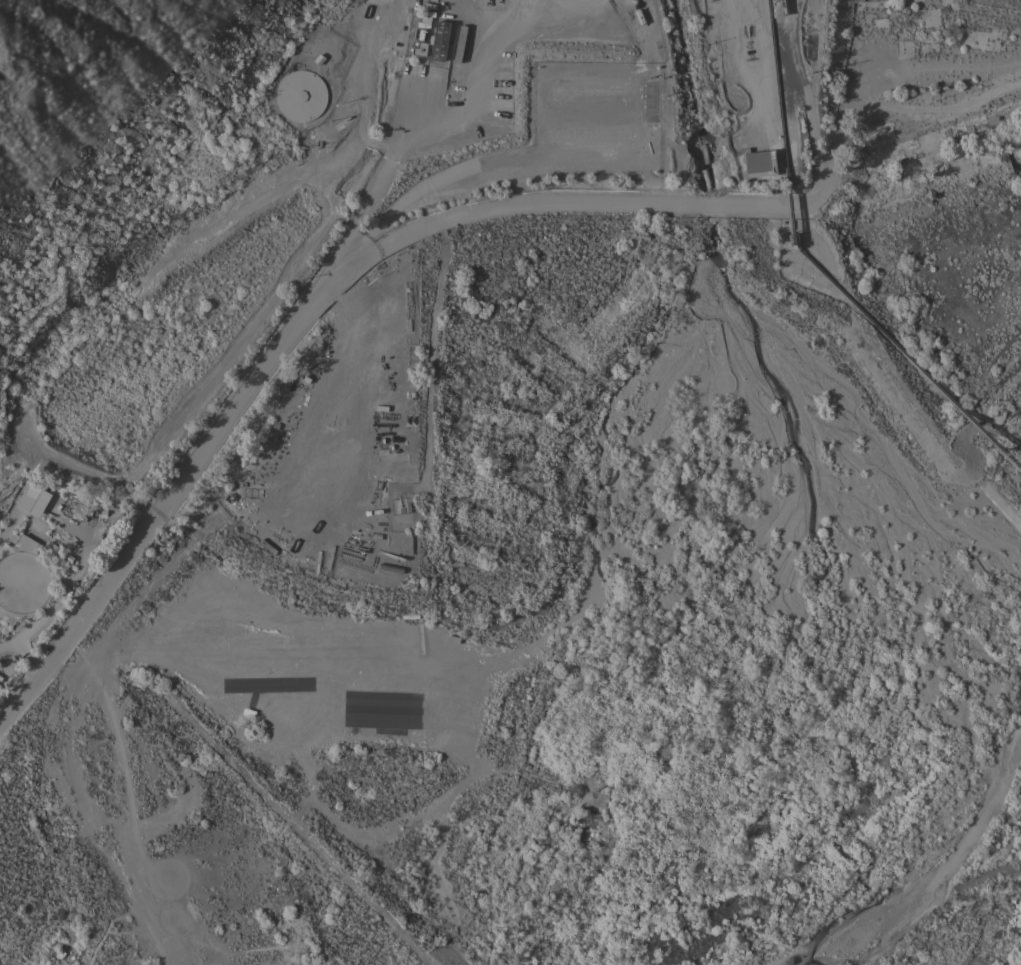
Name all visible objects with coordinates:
building: (904, 4)
building: (952, 6)
building: (991, 12)
building: (926, 19)
building: (879, 22)
building: (903, 34)
building: (979, 40)
building: (436, 47)
building: (419, 49)
road: (807, 94)
building: (300, 95)
storage tank: (299, 96)
road: (465, 103)
road: (650, 119)
parking lot: (606, 122)
building: (878, 135)
building: (928, 141)
road: (415, 190)
road: (712, 204)
quarry: (210, 259)
road: (330, 264)
road: (345, 339)
building: (26, 494)
road: (168, 494)
building: (27, 543)
road: (57, 668)
river: (931, 862)

